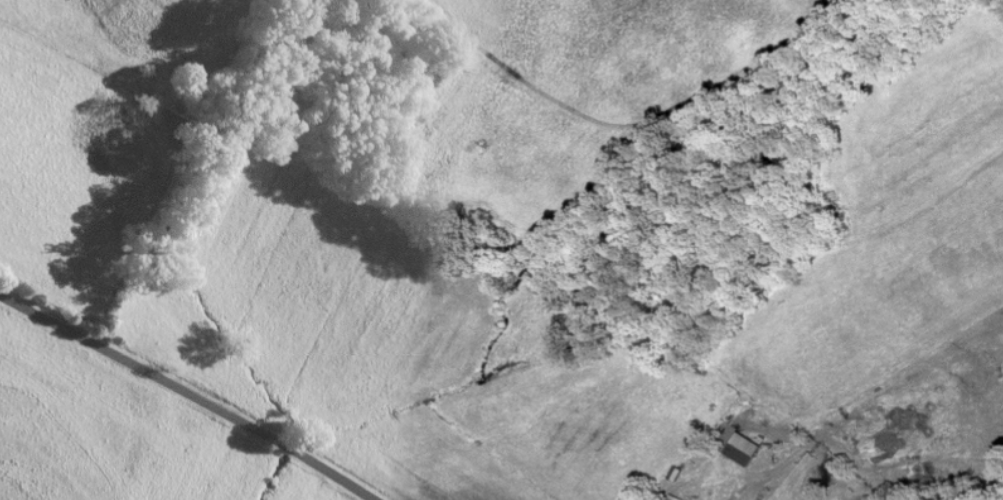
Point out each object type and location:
road: (190, 392)
building: (749, 451)
building: (673, 472)
building: (675, 497)

